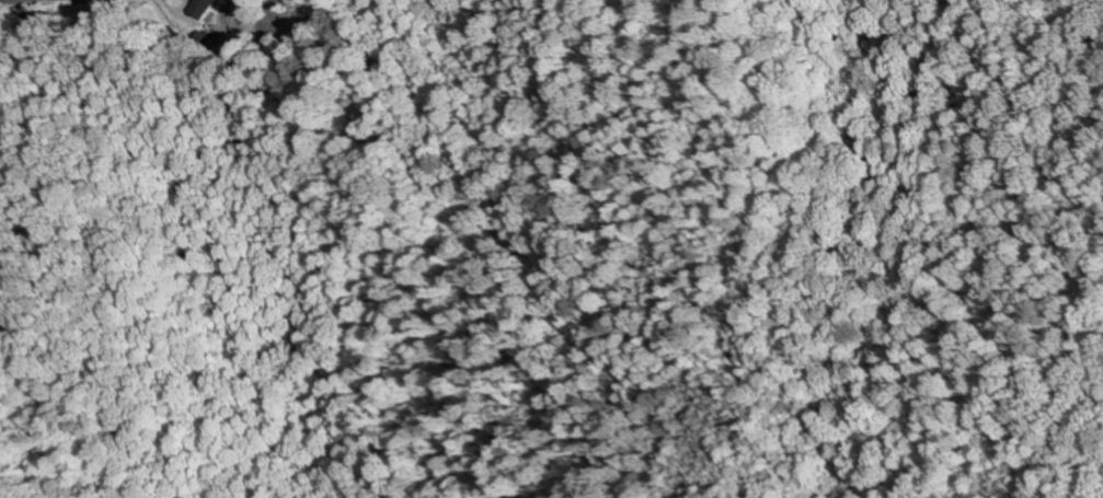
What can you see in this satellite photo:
road: (16, 2)
building: (199, 8)

